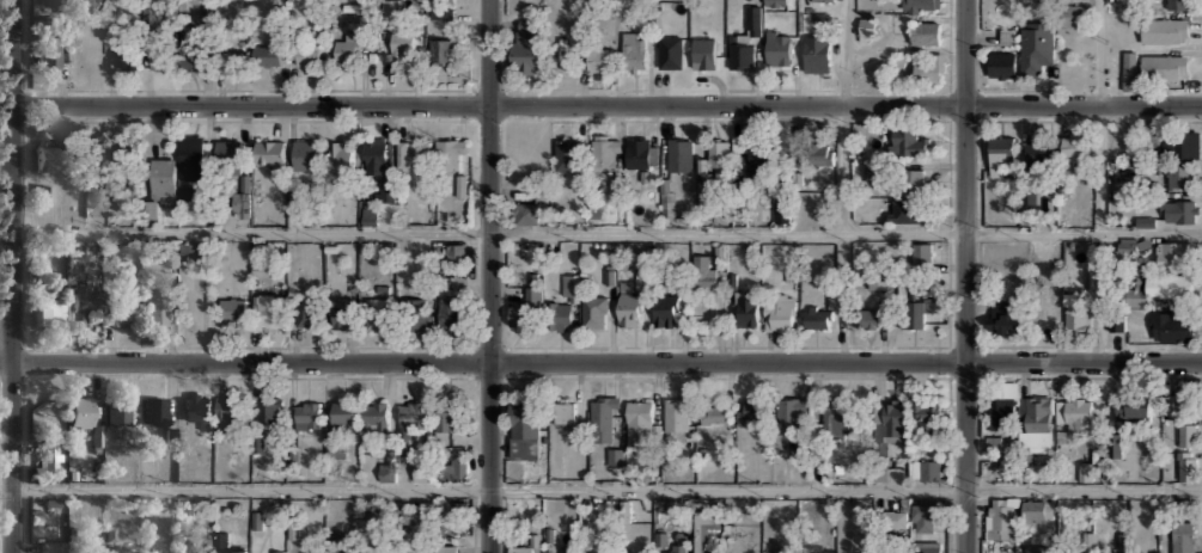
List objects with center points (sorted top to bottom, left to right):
building: (441, 0)
building: (824, 0)
building: (775, 2)
building: (48, 4)
building: (1177, 4)
building: (921, 6)
building: (441, 12)
building: (1070, 18)
building: (867, 29)
building: (1164, 30)
building: (925, 32)
building: (1007, 37)
building: (744, 41)
building: (526, 43)
building: (402, 45)
building: (777, 47)
building: (1036, 47)
building: (349, 49)
building: (440, 50)
building: (633, 50)
building: (704, 50)
building: (306, 51)
road: (844, 53)
road: (1100, 53)
building: (48, 54)
building: (267, 54)
building: (671, 54)
building: (816, 54)
building: (191, 56)
building: (123, 57)
building: (160, 57)
building: (231, 59)
building: (600, 59)
building: (1001, 64)
building: (1164, 64)
building: (929, 68)
building: (1128, 69)
road: (606, 106)
building: (904, 141)
building: (740, 143)
building: (1180, 143)
building: (1074, 147)
building: (1000, 149)
building: (227, 150)
building: (450, 152)
building: (605, 152)
building: (640, 152)
building: (820, 152)
building: (270, 153)
building: (307, 153)
building: (124, 154)
building: (566, 154)
building: (678, 154)
building: (1039, 154)
building: (50, 155)
building: (191, 155)
building: (376, 155)
building: (413, 155)
building: (341, 156)
building: (758, 158)
building: (715, 159)
road: (842, 172)
building: (1180, 177)
building: (911, 179)
building: (163, 180)
building: (388, 192)
building: (44, 193)
building: (1027, 196)
building: (1178, 210)
building: (526, 213)
building: (781, 213)
building: (907, 214)
building: (370, 215)
building: (1145, 222)
road: (606, 234)
building: (456, 252)
building: (1171, 252)
building: (922, 254)
building: (708, 268)
building: (643, 272)
road: (12, 276)
road: (488, 276)
road: (964, 276)
building: (1160, 287)
building: (526, 302)
building: (81, 303)
building: (565, 305)
building: (122, 307)
building: (629, 308)
building: (745, 308)
building: (155, 309)
building: (269, 309)
building: (665, 309)
building: (233, 311)
building: (449, 311)
building: (596, 311)
building: (48, 312)
building: (915, 312)
building: (305, 313)
building: (378, 313)
building: (416, 313)
building: (343, 314)
building: (779, 315)
building: (867, 317)
building: (1002, 317)
building: (818, 318)
building: (1078, 318)
building: (1117, 322)
building: (1169, 327)
road: (600, 363)
building: (1174, 404)
building: (196, 407)
building: (228, 407)
building: (1133, 408)
building: (154, 410)
building: (751, 410)
building: (1000, 410)
building: (80, 411)
building: (270, 411)
building: (565, 411)
building: (927, 412)
building: (1075, 412)
building: (120, 413)
building: (307, 413)
building: (343, 413)
building: (413, 413)
building: (677, 413)
building: (716, 413)
building: (791, 413)
building: (374, 416)
building: (445, 418)
building: (604, 418)
building: (838, 418)
building: (639, 420)
building: (1035, 420)
building: (887, 423)
building: (524, 430)
building: (1188, 434)
building: (993, 444)
building: (1115, 446)
building: (616, 457)
building: (50, 461)
building: (425, 466)
building: (1188, 466)
building: (454, 467)
building: (389, 468)
building: (925, 469)
building: (1085, 472)
road: (600, 490)
building: (1038, 509)
building: (925, 514)
building: (899, 517)
building: (999, 517)
building: (704, 529)
building: (1183, 535)
building: (1124, 541)
building: (1086, 542)
building: (678, 543)
building: (53, 546)
building: (449, 548)
building: (519, 548)
building: (567, 548)
building: (925, 548)
building: (1035, 548)
building: (233, 549)
building: (782, 551)
building: (1106, 551)
building: (195, 552)
building: (279, 552)
building: (887, 552)
building: (1158, 552)

